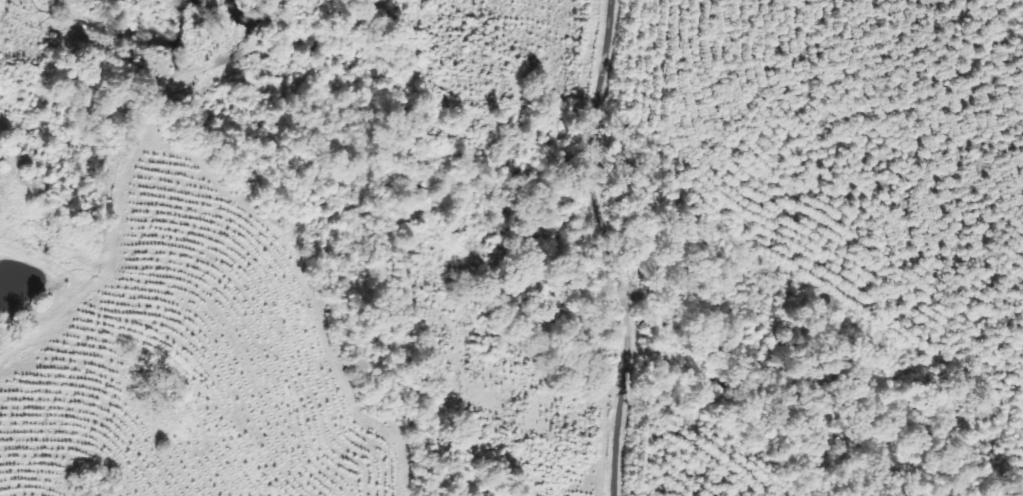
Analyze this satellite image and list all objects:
road: (610, 248)

